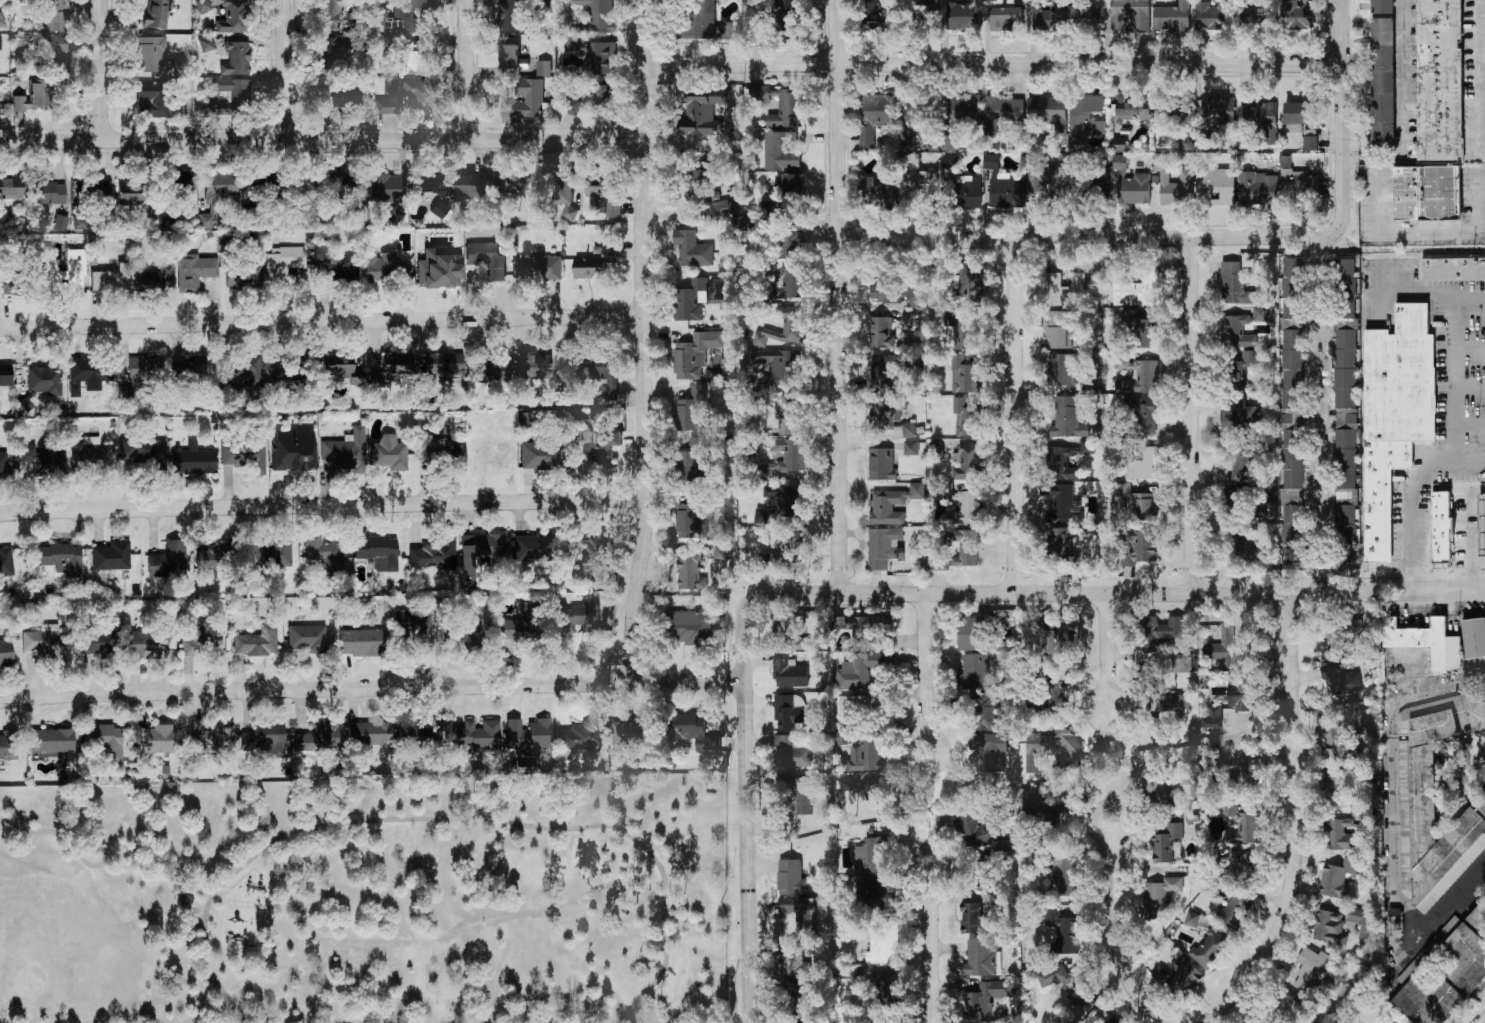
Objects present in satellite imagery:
building: (202, 5)
building: (157, 13)
building: (333, 14)
building: (598, 14)
building: (1298, 14)
building: (1087, 15)
building: (1131, 15)
building: (1257, 15)
building: (413, 16)
building: (514, 16)
building: (879, 16)
building: (1006, 16)
building: (1214, 16)
building: (233, 17)
building: (963, 17)
building: (1049, 17)
building: (1172, 17)
building: (789, 19)
building: (1, 20)
building: (55, 21)
building: (707, 22)
building: (0, 42)
building: (205, 44)
building: (570, 44)
building: (332, 47)
building: (42, 54)
building: (156, 56)
building: (511, 57)
building: (236, 58)
building: (604, 58)
road: (997, 64)
building: (544, 68)
road: (103, 70)
road: (286, 70)
road: (468, 70)
building: (1382, 73)
road: (1480, 78)
building: (1439, 82)
building: (329, 93)
building: (417, 95)
road: (1483, 95)
building: (34, 96)
building: (157, 96)
building: (238, 96)
building: (599, 96)
building: (353, 97)
building: (526, 101)
road: (1401, 104)
building: (387, 106)
building: (1170, 106)
building: (967, 107)
building: (919, 108)
building: (703, 110)
building: (788, 110)
building: (1132, 110)
building: (1218, 110)
building: (1003, 112)
building: (1298, 113)
building: (1050, 114)
building: (876, 115)
road: (1344, 117)
building: (1085, 118)
building: (1261, 119)
road: (325, 141)
building: (950, 142)
building: (1186, 143)
building: (1310, 143)
building: (1119, 144)
building: (781, 151)
building: (950, 162)
building: (1120, 163)
building: (180, 180)
building: (1047, 180)
building: (516, 181)
building: (1297, 181)
building: (261, 182)
building: (698, 183)
building: (1173, 184)
building: (792, 185)
building: (299, 186)
building: (1098, 186)
building: (1215, 187)
building: (385, 188)
building: (468, 188)
building: (1258, 188)
building: (11, 189)
building: (1135, 189)
building: (127, 190)
building: (566, 190)
building: (602, 190)
building: (917, 190)
building: (882, 191)
building: (970, 192)
building: (49, 193)
building: (1427, 194)
building: (216, 196)
road: (1479, 204)
building: (724, 208)
building: (439, 209)
building: (614, 209)
building: (570, 214)
building: (167, 219)
road: (1401, 228)
road: (1089, 238)
building: (790, 245)
building: (692, 249)
building: (487, 259)
building: (595, 263)
building: (284, 265)
building: (439, 267)
building: (387, 268)
building: (538, 268)
building: (1452, 270)
building: (194, 271)
building: (337, 272)
building: (67, 274)
building: (244, 276)
building: (111, 279)
building: (155, 279)
building: (11, 283)
building: (791, 283)
building: (1237, 286)
building: (969, 287)
building: (1065, 289)
building: (1137, 291)
road: (1319, 292)
road: (1418, 292)
building: (887, 293)
building: (915, 296)
road: (840, 297)
building: (691, 299)
building: (908, 320)
road: (323, 322)
building: (788, 325)
building: (1063, 328)
building: (1242, 328)
building: (1139, 329)
building: (961, 331)
building: (881, 333)
road: (646, 341)
building: (1292, 342)
road: (1467, 350)
building: (695, 354)
building: (780, 364)
building: (189, 366)
building: (1242, 367)
building: (342, 368)
building: (392, 368)
building: (145, 369)
building: (246, 371)
building: (490, 371)
building: (540, 371)
building: (1068, 372)
building: (885, 373)
building: (5, 374)
building: (87, 374)
building: (965, 375)
building: (1138, 377)
road: (1450, 378)
building: (284, 379)
building: (44, 380)
building: (1346, 380)
building: (693, 410)
road: (1194, 416)
building: (1238, 416)
building: (1394, 416)
building: (588, 417)
road: (1017, 417)
building: (1144, 417)
building: (1067, 418)
building: (965, 419)
building: (889, 420)
road: (1468, 422)
building: (909, 430)
building: (434, 446)
building: (935, 447)
building: (142, 448)
building: (599, 448)
building: (911, 448)
building: (293, 450)
building: (346, 450)
building: (389, 453)
building: (95, 454)
building: (540, 455)
building: (788, 455)
building: (245, 456)
building: (43, 459)
building: (192, 459)
building: (693, 459)
building: (1245, 459)
building: (1068, 460)
building: (967, 462)
building: (881, 464)
building: (1141, 464)
building: (1293, 466)
building: (4, 467)
road: (1320, 493)
building: (1234, 498)
building: (785, 500)
road: (1416, 500)
building: (1140, 503)
building: (893, 504)
road: (323, 505)
building: (1063, 505)
building: (967, 509)
building: (761, 516)
road: (1471, 520)
building: (690, 522)
building: (1346, 525)
building: (1442, 527)
building: (1293, 534)
building: (1249, 542)
building: (531, 546)
building: (883, 547)
building: (1062, 547)
building: (1141, 547)
building: (966, 548)
building: (590, 549)
building: (787, 550)
building: (1227, 550)
building: (479, 551)
building: (378, 552)
building: (272, 553)
building: (434, 553)
building: (721, 554)
building: (325, 555)
building: (111, 556)
building: (217, 558)
building: (60, 559)
building: (168, 560)
building: (6, 562)
building: (690, 572)
road: (1473, 573)
road: (1114, 595)
building: (581, 619)
building: (521, 623)
building: (409, 627)
building: (786, 627)
building: (689, 628)
building: (1168, 629)
building: (869, 631)
building: (973, 633)
building: (1342, 637)
building: (306, 638)
building: (467, 638)
building: (1474, 639)
building: (1421, 640)
building: (201, 641)
building: (257, 641)
building: (361, 641)
building: (46, 642)
building: (147, 642)
building: (102, 643)
building: (1058, 643)
building: (801, 644)
building: (1224, 646)
building: (6, 652)
road: (1108, 652)
road: (925, 665)
building: (861, 670)
building: (976, 671)
building: (789, 673)
building: (1340, 681)
road: (372, 687)
building: (1241, 693)
building: (1057, 696)
building: (859, 704)
building: (788, 713)
building: (993, 716)
building: (1212, 718)
building: (632, 731)
building: (369, 732)
building: (420, 732)
building: (476, 733)
building: (698, 733)
building: (528, 735)
building: (581, 736)
building: (216, 737)
building: (265, 738)
building: (318, 738)
building: (104, 739)
building: (154, 739)
building: (51, 741)
building: (9, 745)
building: (991, 749)
building: (1052, 749)
building: (790, 752)
road: (940, 753)
building: (866, 755)
building: (1248, 774)
road: (1393, 775)
building: (1157, 790)
building: (872, 794)
building: (802, 796)
building: (1416, 812)
road: (747, 814)
building: (1037, 815)
road: (1123, 817)
road: (395, 819)
road: (1293, 821)
building: (1243, 825)
building: (981, 832)
building: (1340, 835)
building: (1165, 841)
building: (871, 858)
building: (1241, 866)
building: (1064, 877)
building: (791, 878)
building: (1338, 879)
road: (190, 890)
building: (1160, 897)
building: (182, 898)
park: (378, 900)
road: (1453, 901)
building: (996, 905)
building: (1235, 913)
building: (971, 918)
building: (1478, 918)
building: (1192, 919)
building: (1361, 922)
building: (1395, 927)
building: (1329, 928)
building: (1063, 931)
road: (1117, 937)
road: (213, 941)
road: (928, 944)
building: (888, 947)
building: (1209, 949)
park: (66, 951)
road: (203, 955)
building: (1455, 955)
building: (982, 958)
building: (1312, 969)
building: (1178, 976)
building: (1082, 984)
building: (886, 987)
building: (1427, 999)
building: (1286, 1007)
road: (219, 1008)
building: (1389, 1021)
road: (191, 1022)

